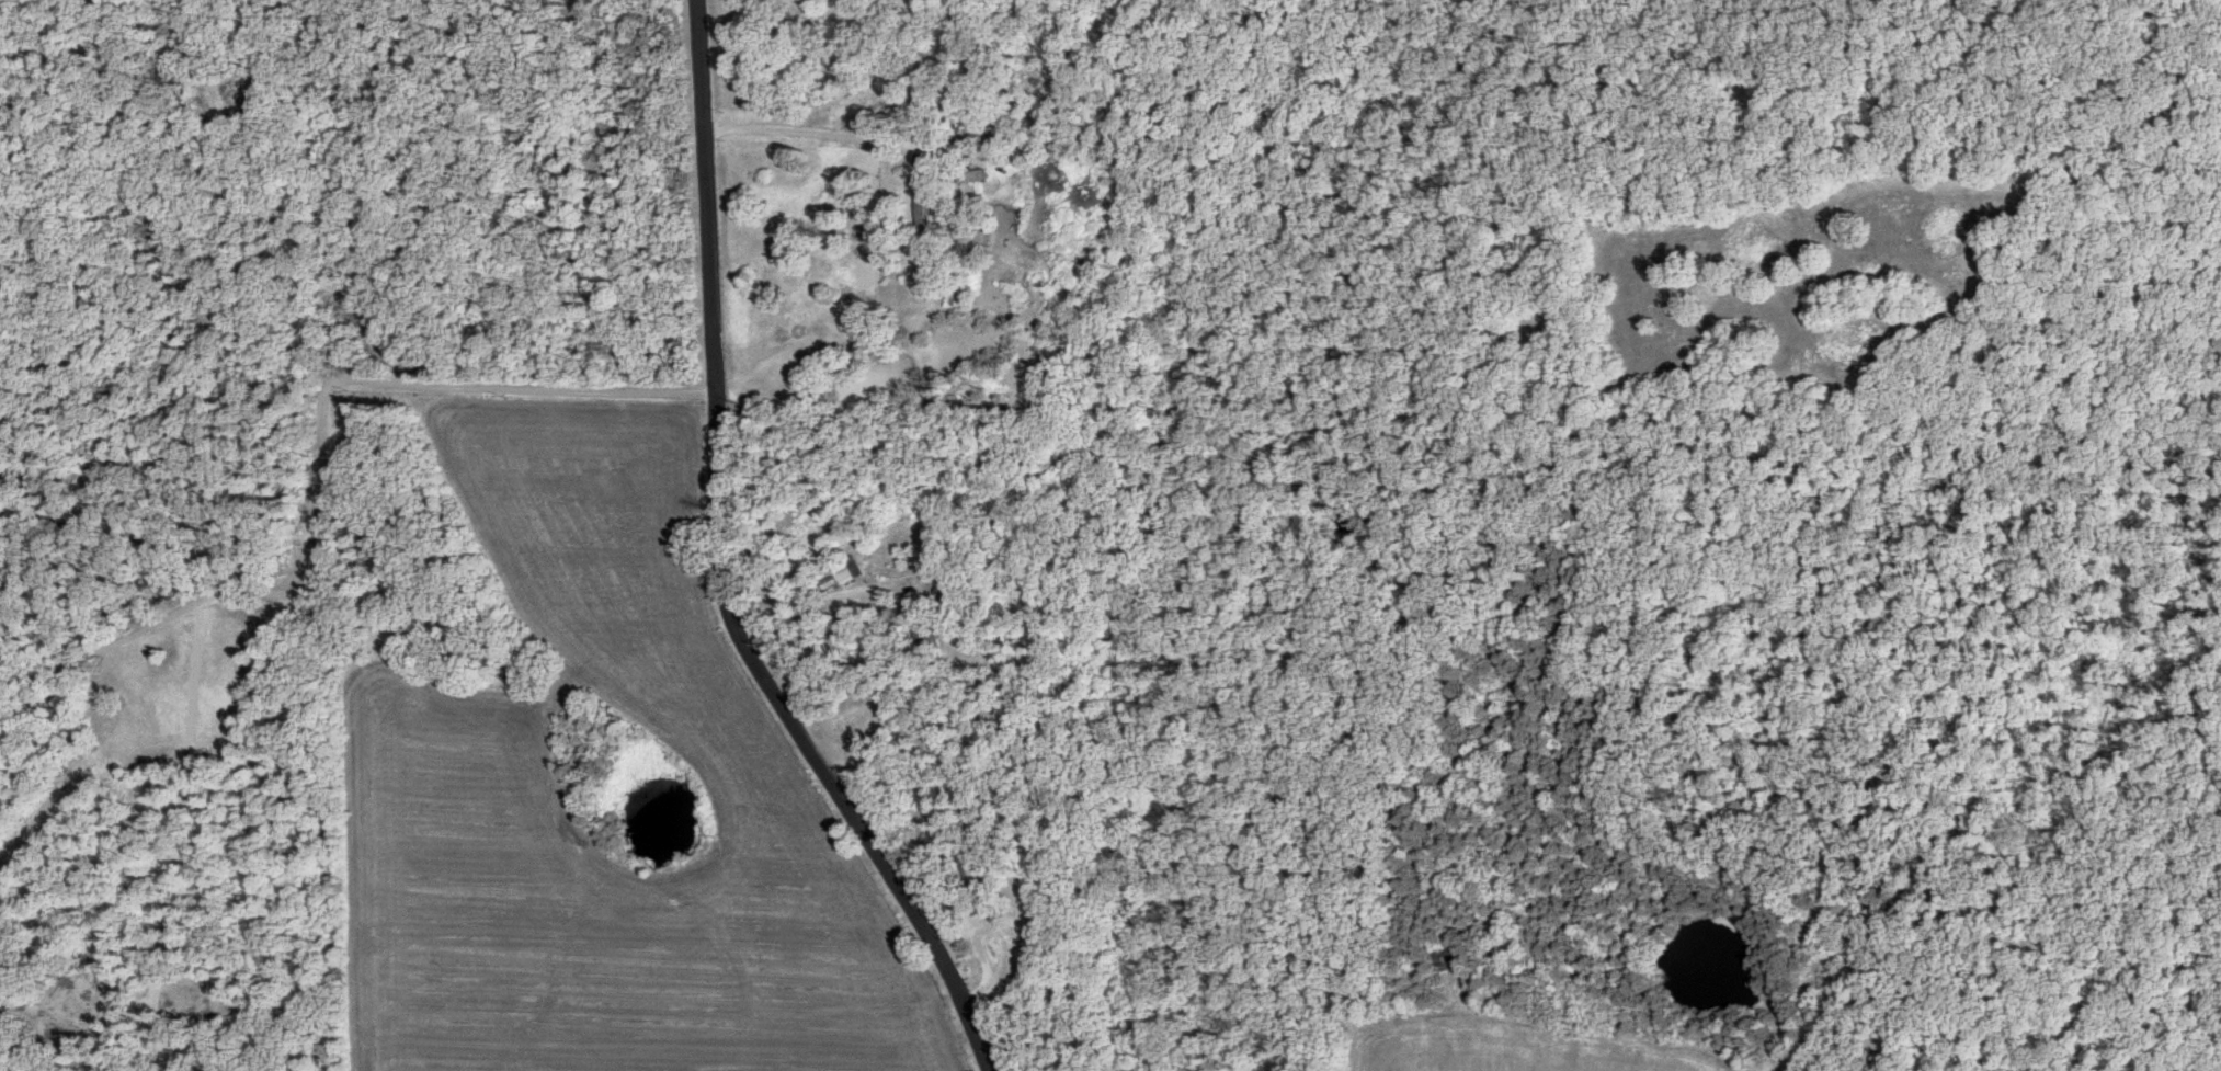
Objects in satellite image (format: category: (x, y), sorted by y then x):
road: (890, 149)
building: (966, 178)
building: (918, 205)
road: (907, 356)
road: (323, 464)
road: (718, 570)
building: (839, 572)
road: (824, 608)
building: (966, 875)
road: (1001, 959)

